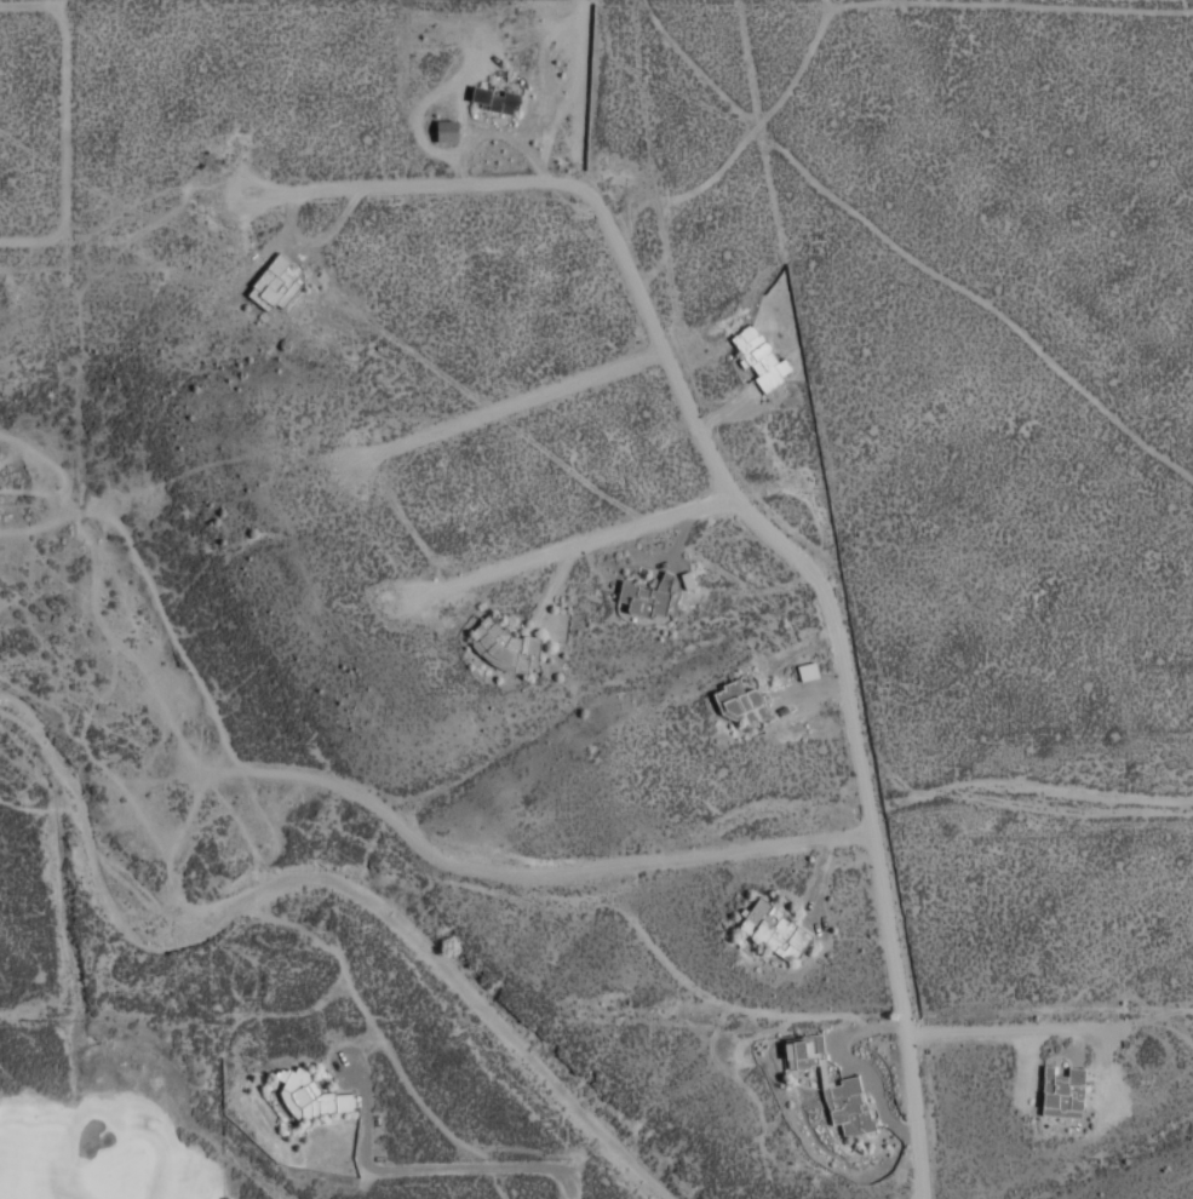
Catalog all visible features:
building: (497, 98)
building: (447, 130)
building: (274, 283)
building: (761, 357)
road: (797, 557)
building: (647, 596)
building: (774, 929)
building: (805, 1051)
building: (1063, 1092)
building: (311, 1095)
building: (848, 1105)
park: (108, 1143)
road: (570, 1191)

